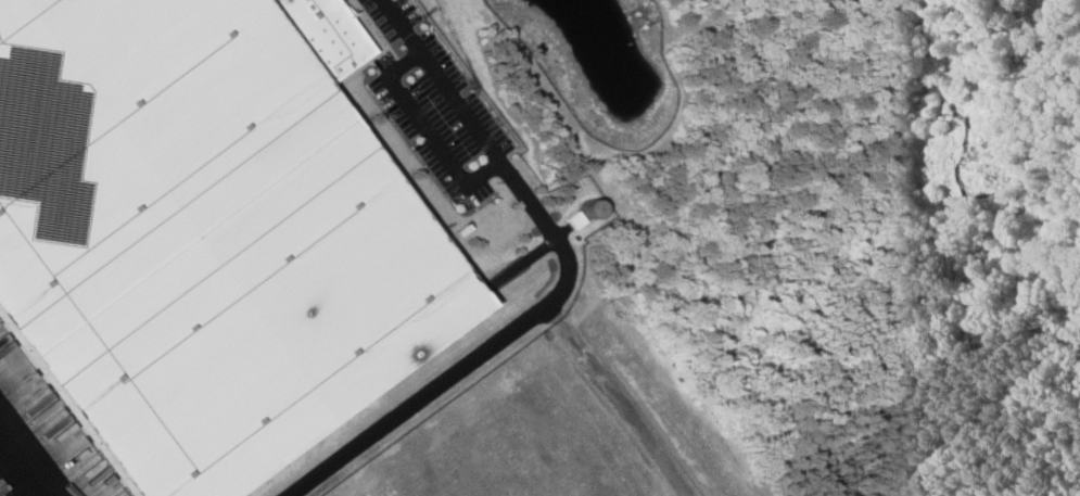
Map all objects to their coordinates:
building: (200, 232)
road: (564, 284)
road: (614, 402)
road: (27, 461)

